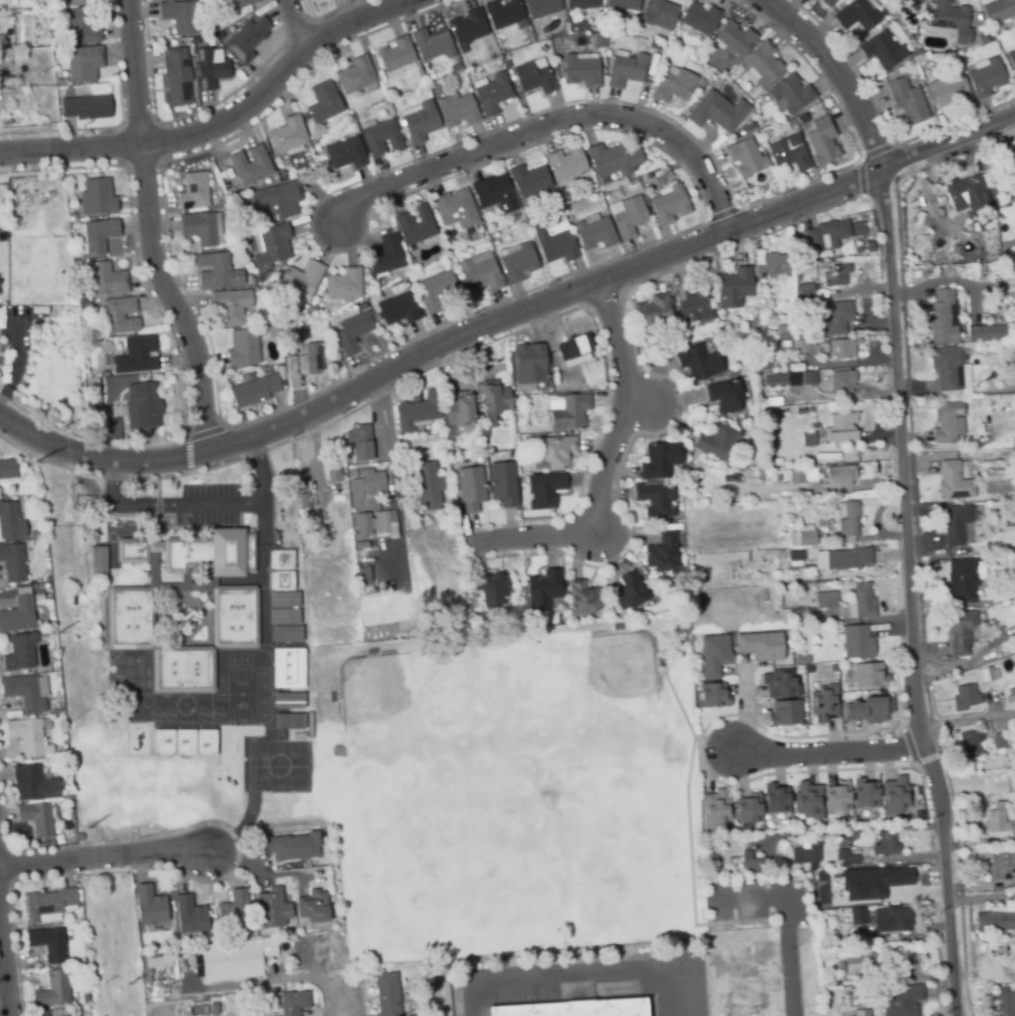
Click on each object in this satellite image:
building: (78, 1)
building: (313, 1)
building: (827, 3)
building: (911, 3)
building: (234, 4)
building: (581, 4)
building: (621, 4)
building: (540, 8)
building: (997, 11)
building: (502, 13)
building: (658, 14)
building: (856, 14)
building: (179, 15)
building: (699, 18)
building: (950, 20)
road: (296, 24)
building: (579, 25)
building: (467, 26)
building: (81, 27)
building: (218, 36)
building: (734, 37)
building: (982, 38)
building: (246, 39)
building: (599, 43)
building: (431, 44)
building: (882, 49)
building: (394, 54)
building: (1012, 58)
building: (83, 63)
building: (763, 64)
building: (210, 68)
building: (580, 68)
building: (625, 70)
power tower: (7, 72)
power tower: (41, 72)
building: (356, 75)
building: (533, 76)
building: (984, 77)
building: (178, 79)
building: (673, 84)
building: (60, 85)
building: (948, 89)
building: (493, 93)
building: (790, 93)
building: (906, 101)
building: (322, 102)
building: (85, 107)
building: (456, 111)
building: (716, 111)
building: (802, 117)
building: (418, 121)
road: (223, 123)
road: (547, 127)
building: (784, 127)
building: (287, 134)
building: (380, 138)
building: (821, 141)
building: (789, 152)
building: (346, 153)
building: (745, 157)
building: (614, 162)
building: (250, 164)
building: (566, 166)
building: (1010, 168)
building: (282, 174)
building: (531, 183)
building: (192, 189)
building: (493, 192)
building: (966, 192)
building: (98, 198)
building: (277, 199)
power tower: (43, 201)
building: (669, 204)
building: (455, 207)
building: (627, 216)
building: (74, 220)
building: (414, 224)
building: (200, 228)
power tower: (11, 230)
road: (148, 231)
building: (596, 234)
building: (826, 234)
building: (100, 236)
building: (796, 236)
building: (556, 243)
building: (271, 247)
building: (945, 247)
building: (953, 249)
building: (384, 254)
building: (518, 264)
building: (770, 264)
building: (215, 270)
building: (480, 273)
building: (836, 275)
building: (301, 280)
building: (108, 281)
building: (343, 284)
building: (733, 287)
building: (803, 291)
building: (435, 292)
building: (0, 293)
building: (229, 307)
building: (693, 308)
building: (399, 312)
building: (1010, 312)
building: (120, 316)
building: (651, 316)
road: (507, 318)
building: (769, 318)
building: (834, 318)
building: (941, 318)
building: (0, 323)
building: (352, 331)
building: (784, 331)
building: (986, 333)
building: (1, 336)
building: (785, 343)
building: (804, 345)
building: (242, 347)
building: (841, 348)
building: (574, 349)
power tower: (55, 355)
building: (137, 357)
building: (764, 357)
building: (313, 359)
building: (698, 362)
building: (529, 363)
building: (795, 367)
building: (949, 371)
building: (800, 378)
building: (773, 379)
building: (842, 381)
building: (821, 388)
building: (254, 391)
building: (724, 395)
building: (493, 402)
building: (772, 402)
building: (141, 405)
building: (459, 408)
building: (417, 410)
building: (567, 411)
building: (947, 422)
road: (384, 423)
building: (813, 425)
building: (841, 428)
building: (113, 430)
building: (808, 438)
building: (717, 441)
building: (359, 442)
building: (1013, 442)
building: (419, 443)
building: (491, 450)
building: (557, 451)
building: (659, 460)
power tower: (32, 461)
road: (606, 463)
building: (7, 468)
building: (810, 473)
building: (334, 474)
building: (351, 474)
building: (781, 475)
building: (839, 475)
building: (796, 476)
building: (371, 481)
building: (952, 481)
building: (502, 483)
building: (427, 485)
road: (903, 486)
building: (469, 488)
building: (544, 489)
building: (654, 498)
building: (303, 502)
road: (196, 505)
parking lot: (208, 505)
building: (830, 519)
building: (10, 521)
building: (848, 521)
building: (820, 522)
building: (954, 522)
building: (385, 523)
building: (362, 524)
building: (311, 525)
building: (831, 526)
building: (802, 536)
building: (679, 538)
building: (826, 539)
building: (661, 553)
building: (794, 558)
building: (841, 558)
building: (281, 559)
building: (12, 562)
building: (98, 562)
building: (363, 575)
building: (281, 580)
building: (960, 581)
building: (188, 587)
building: (48, 589)
building: (489, 589)
building: (542, 589)
building: (628, 591)
building: (38, 596)
building: (582, 597)
building: (284, 599)
building: (825, 599)
building: (860, 601)
building: (18, 614)
building: (284, 616)
building: (959, 630)
power tower: (58, 632)
building: (287, 633)
building: (41, 634)
building: (52, 634)
building: (856, 641)
building: (760, 645)
building: (19, 651)
building: (52, 654)
building: (713, 655)
building: (802, 658)
building: (55, 665)
building: (288, 667)
building: (183, 669)
building: (808, 669)
building: (986, 674)
building: (869, 675)
building: (780, 683)
building: (26, 691)
building: (880, 692)
building: (712, 695)
building: (964, 696)
building: (1010, 698)
building: (289, 700)
building: (823, 703)
building: (867, 709)
building: (784, 712)
building: (289, 721)
road: (968, 724)
building: (26, 735)
building: (299, 737)
building: (998, 740)
building: (164, 742)
building: (185, 742)
building: (206, 742)
building: (970, 744)
road: (829, 753)
building: (32, 782)
park: (136, 782)
park: (512, 790)
building: (864, 793)
building: (836, 796)
building: (893, 796)
building: (775, 797)
building: (807, 800)
building: (714, 808)
building: (748, 809)
building: (1013, 814)
building: (36, 818)
building: (995, 818)
power tower: (88, 827)
road: (851, 829)
building: (67, 830)
building: (78, 836)
building: (1012, 837)
building: (885, 844)
building: (289, 847)
building: (806, 853)
building: (845, 857)
road: (104, 858)
building: (748, 861)
building: (1001, 864)
power tower: (118, 876)
building: (872, 881)
road: (766, 897)
road: (981, 899)
parking lot: (759, 900)
building: (47, 903)
building: (149, 904)
building: (312, 906)
building: (271, 908)
building: (233, 909)
building: (189, 915)
building: (857, 916)
building: (891, 919)
building: (994, 920)
building: (48, 943)
building: (234, 958)
building: (913, 958)
building: (157, 961)
building: (861, 965)
road: (790, 971)
road: (578, 978)
parking lot: (599, 980)
power tower: (100, 981)
road: (2, 984)
power tower: (127, 984)
road: (256, 985)
building: (53, 990)
building: (387, 994)
road: (348, 999)
building: (848, 999)
building: (901, 1000)
building: (1004, 1001)
building: (293, 1002)
building: (582, 1003)
building: (213, 1008)
building: (56, 1012)
building: (861, 1012)

